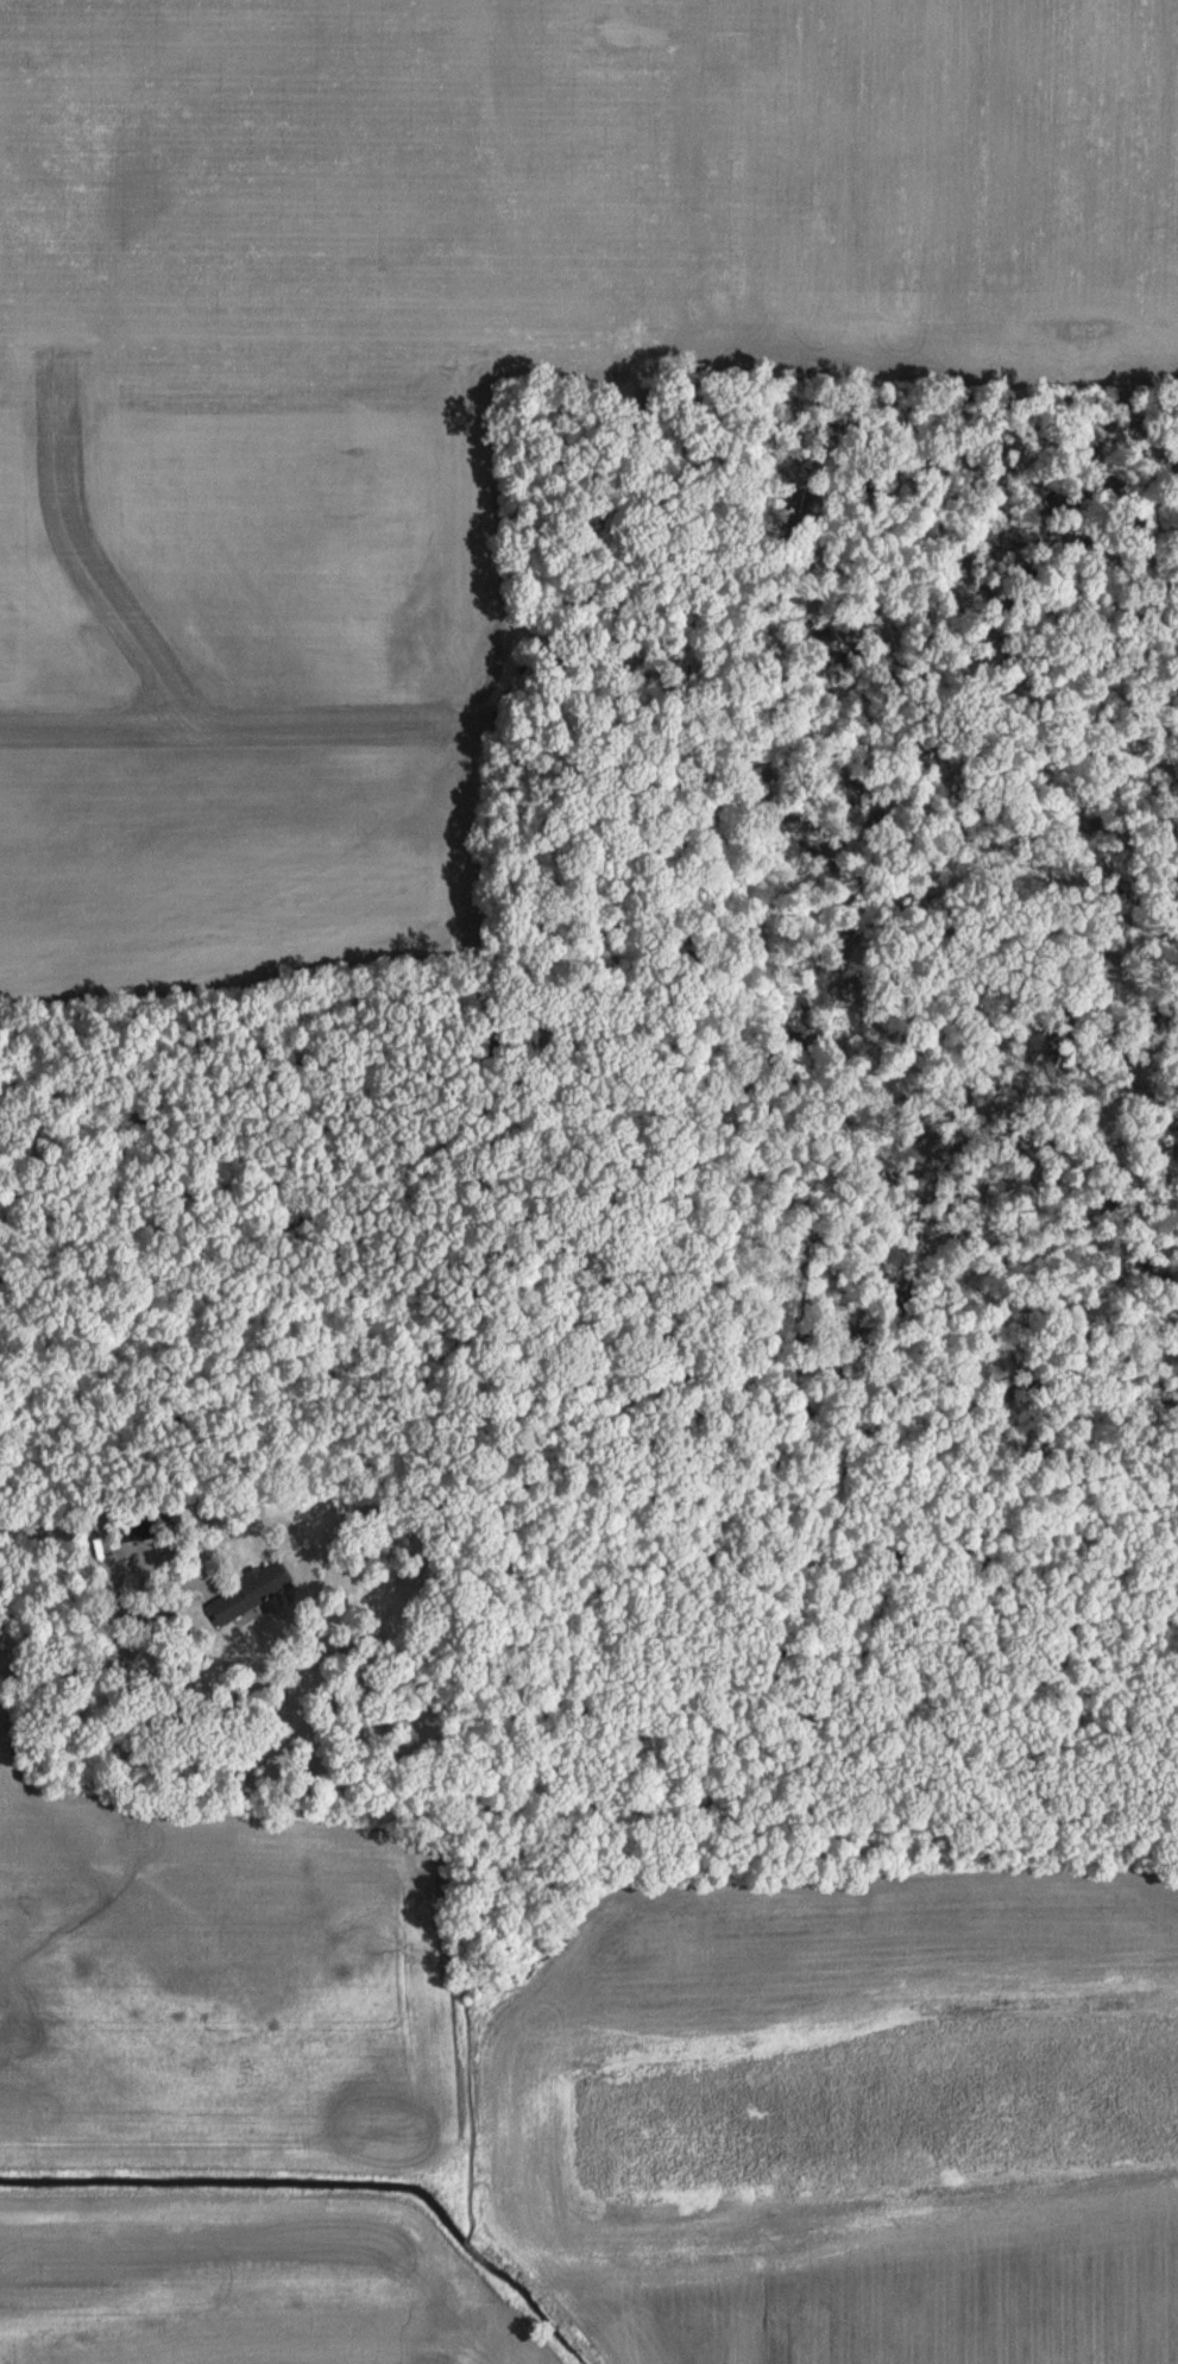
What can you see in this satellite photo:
building: (125, 1531)
building: (246, 1593)
road: (112, 1664)

